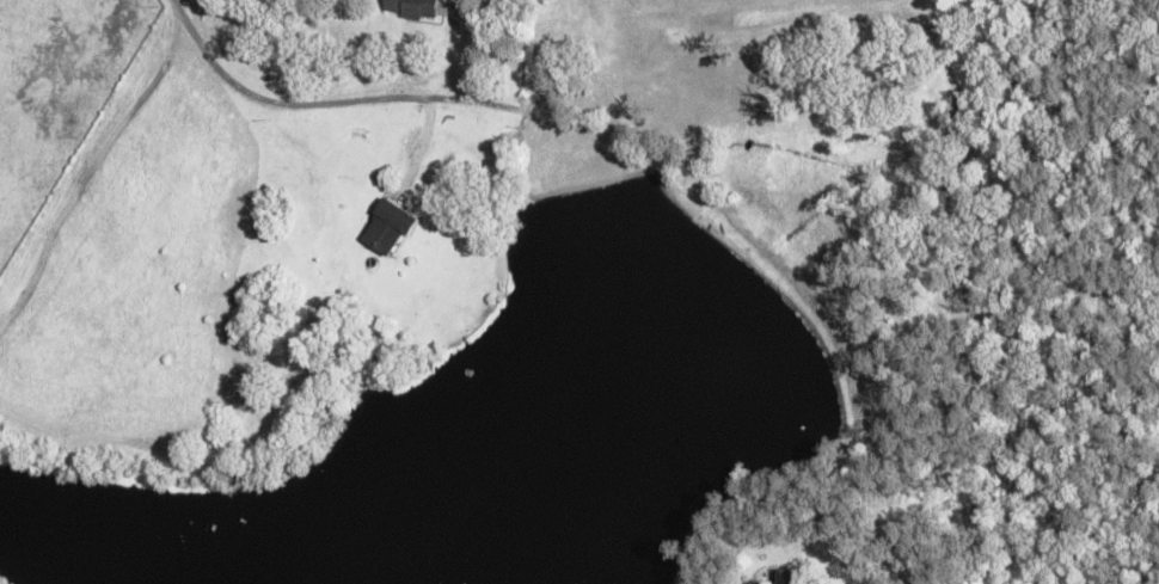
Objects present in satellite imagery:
building: (412, 10)
road: (277, 105)
building: (391, 229)
building: (795, 578)

